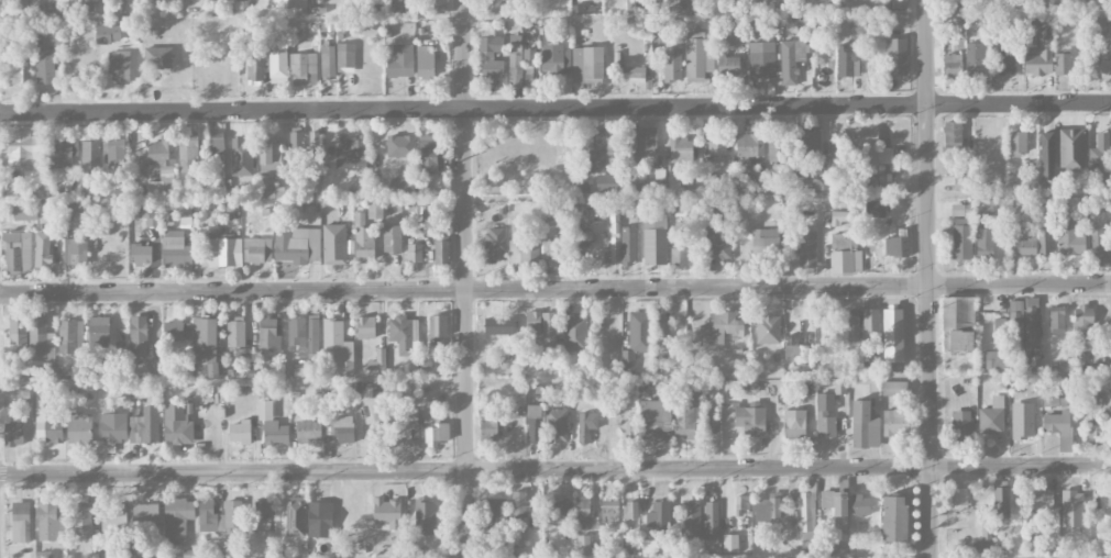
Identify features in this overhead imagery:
building: (288, 2)
building: (898, 3)
building: (26, 5)
building: (493, 5)
building: (683, 5)
building: (1098, 26)
building: (108, 33)
building: (734, 33)
building: (51, 36)
building: (19, 37)
building: (1041, 51)
building: (345, 54)
building: (698, 56)
building: (897, 56)
building: (157, 57)
building: (492, 57)
building: (555, 58)
building: (761, 58)
building: (1003, 58)
building: (399, 59)
building: (791, 59)
building: (515, 60)
building: (974, 60)
building: (328, 62)
building: (426, 62)
building: (847, 62)
building: (672, 63)
building: (1061, 63)
building: (728, 64)
building: (587, 65)
building: (953, 65)
building: (45, 66)
building: (119, 66)
building: (277, 67)
building: (302, 67)
building: (1105, 67)
building: (255, 70)
building: (529, 70)
building: (16, 72)
building: (634, 74)
road: (555, 108)
building: (953, 132)
building: (1018, 141)
building: (641, 143)
building: (295, 144)
building: (716, 144)
building: (749, 144)
building: (217, 145)
building: (312, 145)
building: (399, 146)
building: (20, 147)
building: (777, 147)
building: (681, 148)
building: (593, 149)
building: (807, 149)
building: (1071, 149)
building: (162, 150)
building: (116, 152)
building: (187, 152)
building: (350, 152)
building: (873, 152)
building: (59, 153)
building: (428, 153)
building: (837, 154)
building: (1099, 156)
building: (90, 157)
building: (241, 157)
building: (271, 159)
building: (1046, 159)
building: (163, 181)
building: (607, 182)
building: (961, 183)
building: (818, 185)
building: (875, 209)
building: (957, 209)
building: (375, 210)
building: (426, 211)
building: (24, 212)
building: (150, 214)
building: (1045, 234)
building: (1069, 236)
building: (363, 238)
building: (392, 238)
building: (961, 238)
building: (765, 241)
building: (1096, 241)
building: (656, 243)
building: (719, 243)
building: (297, 244)
building: (334, 244)
building: (495, 244)
building: (985, 244)
building: (612, 245)
building: (895, 245)
building: (628, 246)
building: (1026, 246)
building: (807, 248)
building: (1108, 248)
building: (43, 249)
building: (175, 249)
building: (257, 249)
building: (224, 250)
building: (557, 250)
building: (78, 252)
building: (414, 252)
building: (441, 252)
building: (18, 253)
building: (98, 253)
building: (524, 253)
building: (678, 253)
building: (141, 254)
building: (845, 255)
road: (928, 278)
road: (462, 279)
road: (555, 287)
building: (1032, 320)
building: (1056, 321)
building: (532, 322)
building: (958, 323)
building: (870, 324)
building: (498, 325)
building: (853, 325)
building: (1015, 325)
building: (312, 326)
building: (723, 326)
building: (365, 327)
building: (1083, 327)
building: (768, 328)
building: (176, 330)
building: (433, 330)
building: (549, 330)
building: (663, 330)
building: (235, 331)
building: (99, 332)
building: (574, 332)
building: (18, 333)
building: (268, 334)
building: (404, 334)
building: (893, 335)
building: (139, 336)
building: (70, 337)
building: (637, 338)
building: (41, 341)
building: (337, 345)
building: (205, 346)
building: (794, 348)
building: (993, 359)
building: (377, 360)
building: (506, 364)
building: (154, 368)
building: (839, 388)
building: (893, 388)
building: (1055, 402)
building: (1107, 403)
building: (686, 413)
building: (710, 414)
building: (825, 415)
building: (992, 415)
building: (751, 418)
building: (656, 421)
building: (894, 422)
building: (533, 423)
building: (794, 423)
building: (407, 424)
building: (865, 424)
building: (47, 425)
building: (177, 425)
building: (272, 425)
building: (557, 425)
building: (964, 426)
building: (583, 427)
building: (1059, 427)
building: (79, 428)
building: (112, 428)
building: (343, 428)
building: (488, 428)
building: (629, 429)
building: (308, 431)
building: (435, 431)
building: (143, 432)
building: (240, 432)
building: (13, 434)
building: (1093, 435)
road: (554, 469)
building: (1109, 495)
building: (958, 498)
building: (826, 499)
building: (1044, 500)
building: (741, 502)
building: (860, 506)
building: (519, 507)
building: (768, 507)
building: (609, 510)
building: (630, 510)
building: (551, 511)
building: (583, 511)
building: (840, 512)
building: (496, 513)
building: (659, 513)
building: (145, 514)
building: (386, 514)
building: (220, 516)
building: (296, 516)
building: (425, 516)
building: (113, 517)
building: (691, 518)
building: (893, 518)
building: (177, 520)
building: (320, 520)
building: (711, 520)
building: (807, 520)
building: (21, 522)
building: (51, 522)
building: (82, 522)
building: (264, 523)
building: (985, 535)
building: (730, 543)
building: (583, 544)
building: (648, 546)
building: (837, 547)

